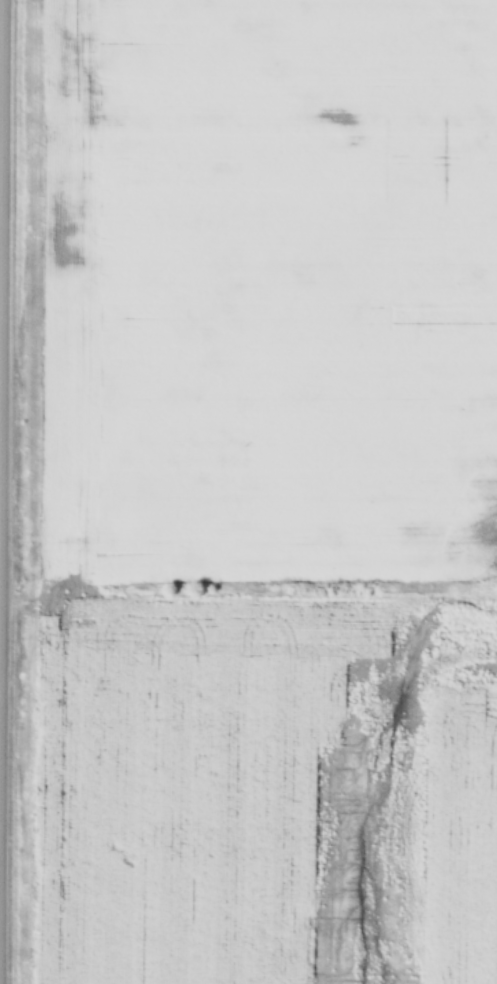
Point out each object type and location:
road: (1, 335)

